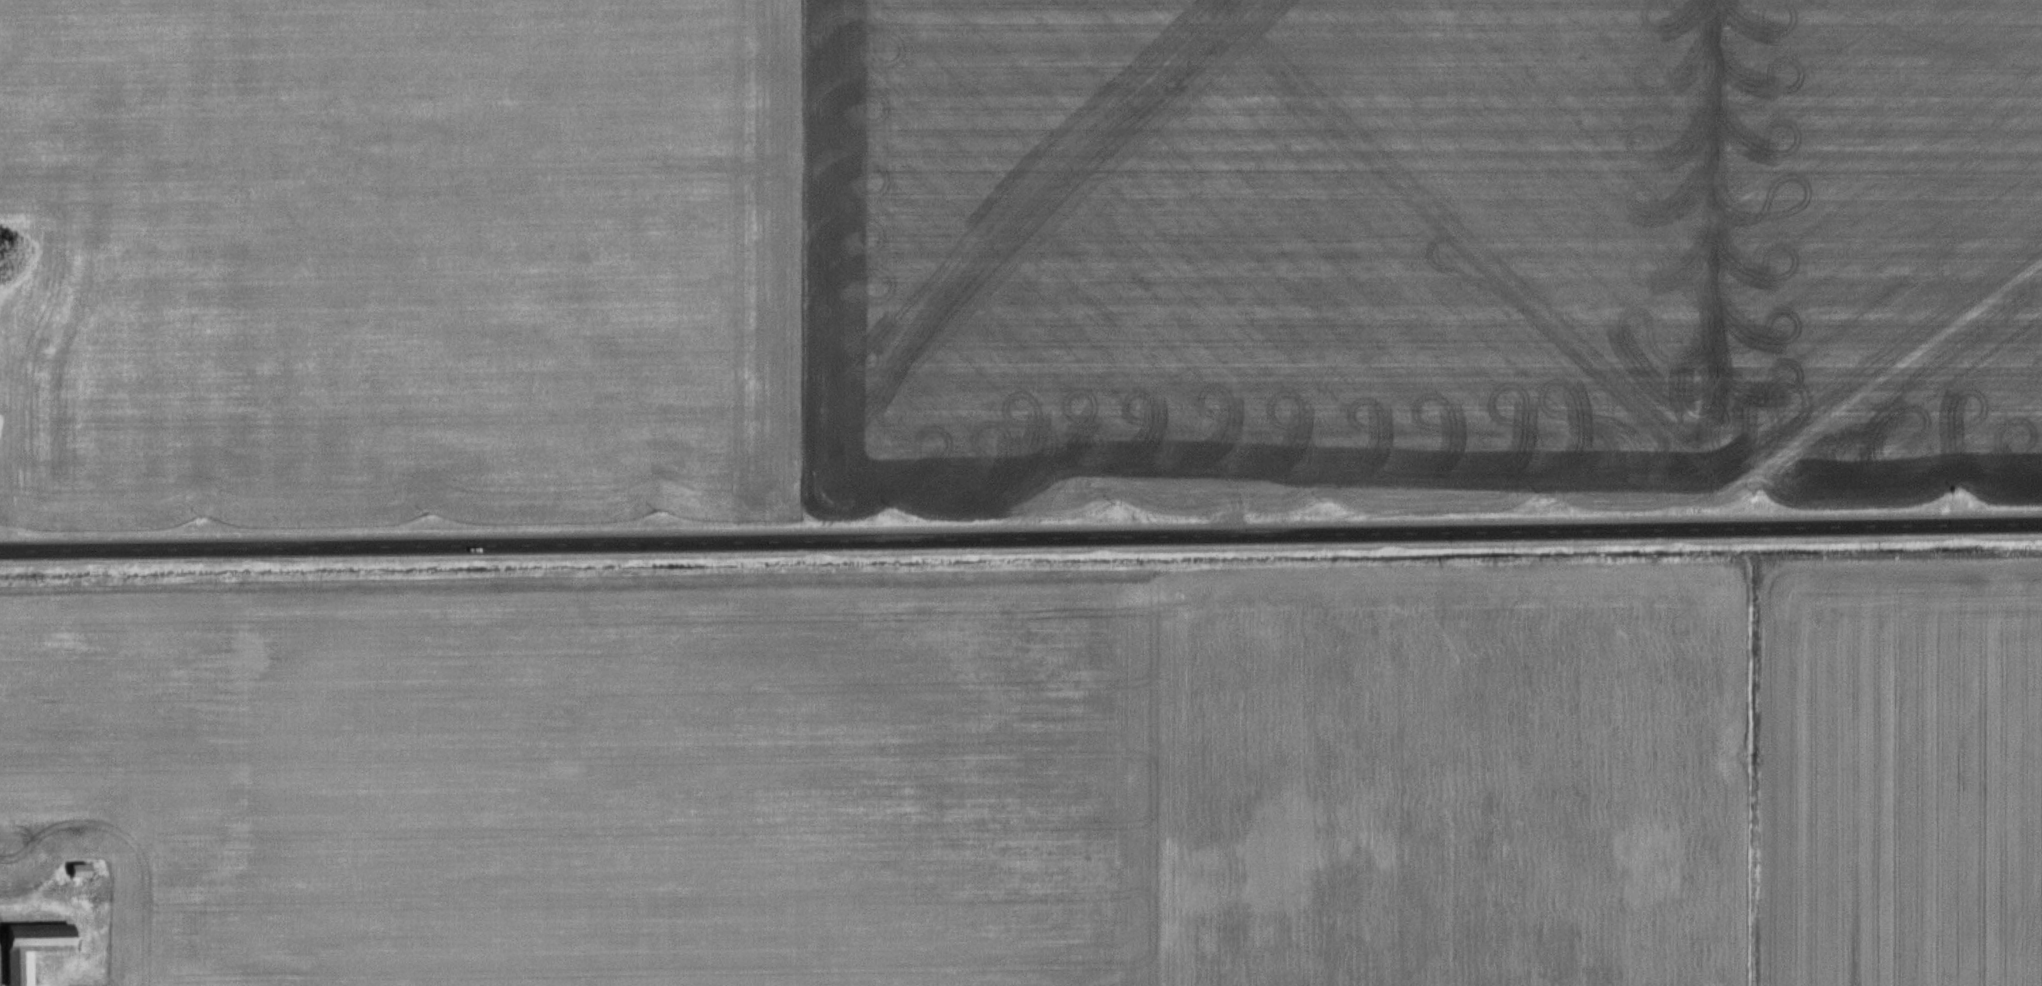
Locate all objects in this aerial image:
road: (1021, 535)
building: (89, 830)
building: (81, 870)
building: (35, 947)

